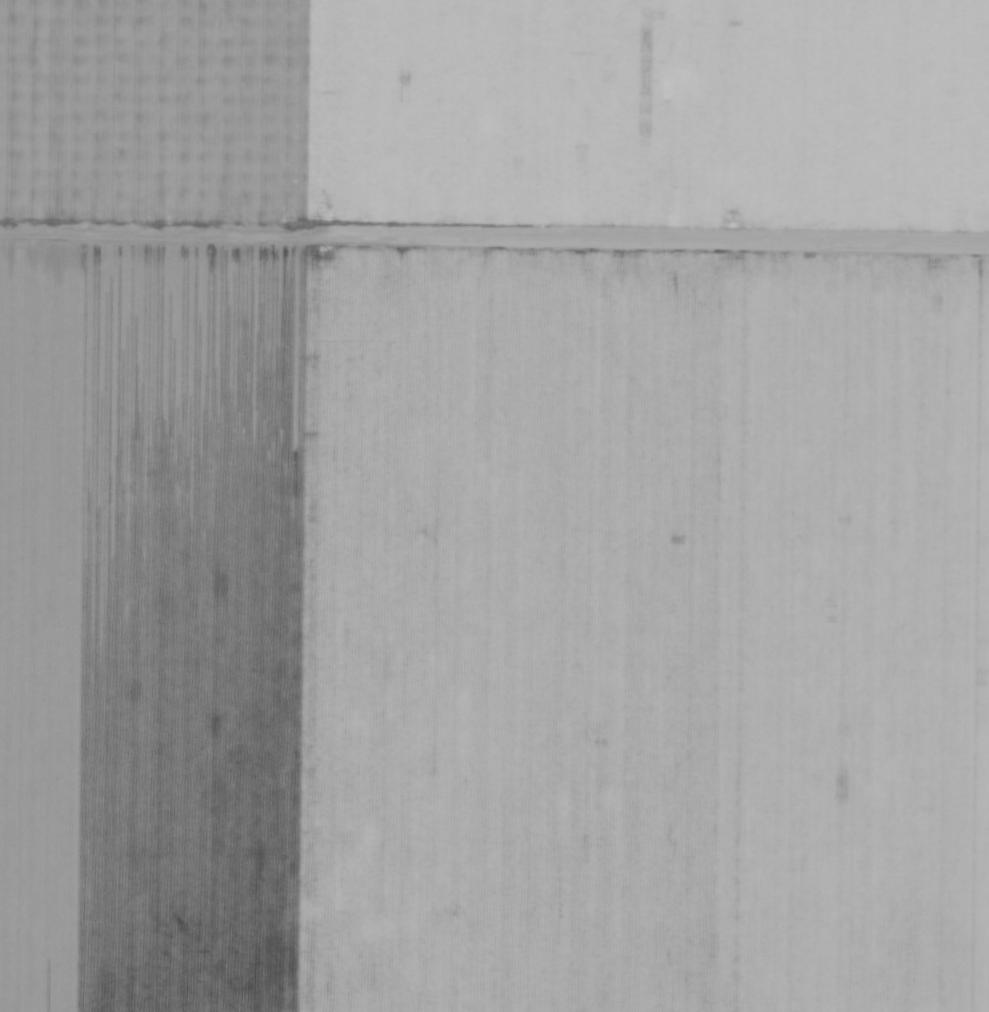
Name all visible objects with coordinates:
crop: (494, 506)

